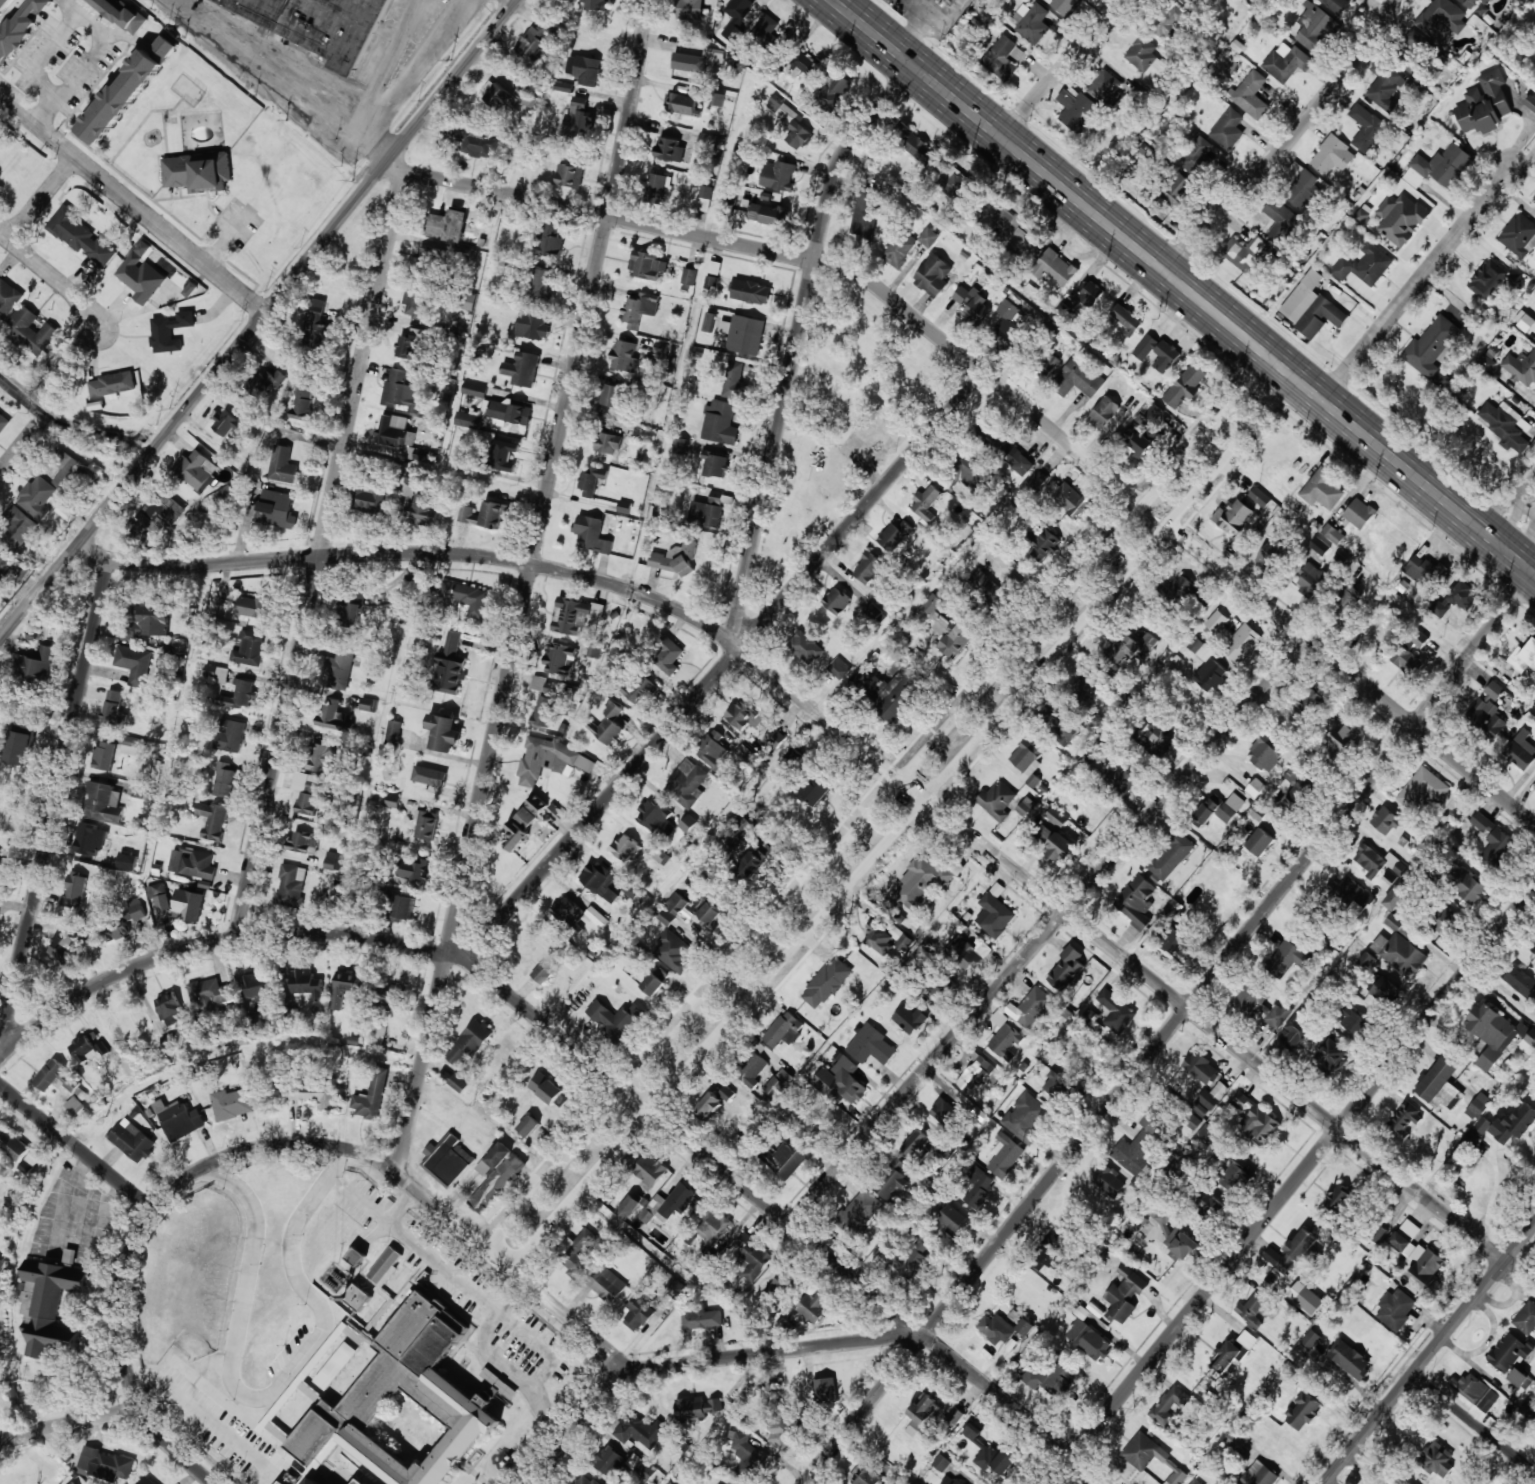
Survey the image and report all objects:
road: (519, 1)
building: (1486, 1)
building: (1194, 3)
building: (1469, 3)
building: (4, 4)
building: (594, 5)
building: (1337, 5)
building: (1064, 6)
building: (691, 9)
building: (122, 14)
building: (737, 18)
building: (1442, 19)
building: (1167, 21)
building: (1032, 22)
building: (317, 23)
building: (1315, 25)
building: (20, 28)
building: (766, 32)
building: (536, 41)
building: (1143, 55)
building: (1003, 57)
road: (91, 58)
building: (690, 62)
building: (1287, 62)
building: (803, 64)
road: (1063, 69)
building: (588, 70)
road: (271, 72)
road: (406, 79)
building: (1385, 84)
building: (1103, 86)
building: (564, 87)
building: (833, 89)
building: (126, 90)
building: (1251, 95)
building: (499, 97)
building: (529, 99)
building: (717, 99)
building: (1531, 102)
building: (682, 103)
building: (1484, 104)
building: (1078, 112)
building: (580, 120)
building: (790, 122)
building: (1366, 127)
building: (1228, 129)
road: (1276, 137)
building: (477, 142)
building: (708, 143)
building: (917, 146)
building: (670, 150)
building: (1196, 154)
building: (1332, 155)
building: (1440, 166)
building: (198, 171)
building: (778, 175)
building: (569, 176)
building: (953, 183)
building: (657, 188)
building: (1302, 188)
building: (1173, 189)
building: (1534, 196)
building: (705, 197)
road: (42, 199)
road: (134, 205)
building: (864, 212)
building: (767, 213)
building: (1280, 220)
building: (1403, 221)
building: (446, 226)
building: (1013, 231)
building: (1519, 235)
building: (81, 236)
building: (928, 237)
building: (550, 241)
building: (900, 249)
building: (1245, 252)
building: (427, 258)
building: (647, 265)
building: (1365, 265)
building: (1057, 268)
building: (933, 275)
road: (53, 276)
building: (689, 276)
building: (141, 277)
building: (1487, 279)
building: (542, 283)
road: (1417, 283)
road: (1181, 287)
building: (751, 292)
building: (1092, 293)
building: (8, 296)
building: (1302, 296)
building: (469, 302)
building: (415, 303)
building: (972, 304)
building: (639, 309)
building: (1321, 317)
building: (316, 318)
building: (1125, 319)
building: (1008, 321)
building: (709, 322)
road: (262, 323)
building: (533, 325)
building: (31, 330)
building: (170, 331)
building: (745, 334)
building: (406, 346)
road: (796, 347)
building: (1145, 347)
building: (1432, 349)
building: (624, 356)
building: (1165, 356)
building: (1490, 357)
building: (1049, 364)
building: (1521, 368)
building: (522, 369)
building: (1077, 378)
building: (733, 380)
building: (264, 383)
building: (111, 384)
building: (1185, 385)
building: (474, 390)
building: (401, 391)
road: (1010, 394)
building: (611, 395)
building: (303, 403)
building: (1131, 403)
building: (1105, 411)
building: (509, 413)
building: (1157, 414)
building: (468, 420)
building: (225, 422)
building: (3, 423)
building: (720, 423)
park: (845, 423)
building: (1504, 425)
building: (398, 435)
building: (607, 443)
building: (1141, 444)
road: (20, 447)
building: (1005, 449)
building: (502, 455)
building: (715, 464)
building: (282, 465)
building: (68, 468)
building: (197, 468)
building: (972, 468)
building: (415, 473)
building: (1040, 475)
building: (1322, 489)
building: (1066, 496)
building: (37, 497)
building: (1259, 497)
building: (369, 499)
building: (926, 503)
road: (1512, 504)
building: (276, 509)
building: (419, 510)
building: (162, 512)
building: (707, 512)
building: (1359, 513)
building: (485, 515)
building: (1233, 516)
building: (18, 527)
building: (1332, 533)
building: (591, 534)
building: (894, 536)
building: (1042, 543)
building: (1319, 545)
building: (1268, 553)
road: (321, 554)
building: (4, 559)
building: (672, 560)
building: (868, 568)
building: (1421, 569)
building: (1310, 580)
road: (523, 587)
building: (988, 588)
building: (1180, 589)
building: (467, 597)
building: (1456, 598)
building: (836, 601)
building: (255, 606)
building: (350, 613)
building: (937, 614)
building: (574, 615)
building: (148, 621)
building: (1216, 621)
building: (956, 641)
building: (1417, 641)
building: (1242, 644)
building: (1131, 645)
building: (806, 647)
building: (249, 648)
building: (1201, 650)
building: (669, 653)
building: (1523, 656)
building: (560, 659)
building: (1406, 660)
building: (37, 663)
building: (135, 664)
building: (450, 664)
road: (724, 665)
building: (341, 667)
building: (839, 667)
building: (1210, 675)
building: (640, 688)
building: (1087, 688)
building: (240, 694)
building: (891, 695)
building: (1313, 698)
building: (543, 701)
building: (112, 707)
building: (1489, 711)
building: (336, 716)
building: (743, 716)
building: (608, 724)
building: (1061, 725)
building: (394, 728)
building: (444, 732)
building: (1345, 735)
building: (231, 736)
building: (1154, 740)
road: (855, 743)
building: (129, 745)
building: (19, 748)
building: (1521, 749)
building: (713, 750)
building: (1266, 754)
building: (104, 756)
building: (793, 756)
building: (321, 758)
building: (549, 759)
building: (1028, 760)
building: (430, 775)
building: (1291, 775)
building: (1125, 776)
building: (224, 779)
building: (687, 783)
building: (1255, 787)
building: (1422, 789)
building: (815, 791)
building: (306, 792)
building: (1299, 794)
road: (56, 799)
building: (997, 800)
building: (103, 801)
road: (879, 805)
building: (1026, 806)
building: (1209, 808)
building: (1230, 808)
building: (656, 816)
building: (1056, 816)
building: (213, 819)
building: (1385, 820)
building: (1269, 821)
building: (688, 823)
building: (424, 824)
building: (521, 824)
road: (902, 824)
building: (740, 828)
building: (90, 839)
building: (1493, 840)
building: (1260, 842)
building: (303, 843)
building: (1056, 843)
building: (626, 848)
building: (1170, 856)
building: (756, 859)
building: (127, 861)
building: (334, 861)
building: (1370, 861)
building: (193, 864)
building: (412, 869)
building: (600, 881)
building: (921, 881)
building: (292, 885)
building: (1465, 887)
building: (75, 890)
building: (1351, 894)
building: (1395, 898)
building: (1137, 901)
building: (176, 902)
building: (676, 904)
building: (404, 908)
building: (135, 909)
building: (568, 911)
building: (995, 912)
building: (712, 915)
building: (597, 917)
building: (666, 917)
building: (1442, 918)
building: (116, 929)
road: (1048, 930)
building: (879, 939)
building: (1172, 941)
building: (71, 942)
building: (1533, 946)
building: (1399, 948)
building: (673, 951)
building: (966, 956)
building: (56, 957)
building: (1285, 959)
building: (1366, 961)
building: (1067, 969)
building: (541, 973)
building: (1520, 980)
building: (305, 983)
building: (653, 983)
building: (826, 983)
building: (344, 986)
building: (939, 986)
building: (256, 988)
building: (1383, 990)
building: (209, 993)
building: (1253, 995)
building: (395, 996)
building: (1030, 1007)
building: (170, 1009)
building: (1116, 1011)
building: (1278, 1015)
building: (611, 1018)
building: (910, 1019)
building: (1351, 1021)
building: (784, 1029)
building: (1296, 1032)
building: (1004, 1034)
building: (1493, 1034)
building: (380, 1036)
road: (1174, 1038)
building: (470, 1042)
building: (1528, 1042)
building: (871, 1045)
building: (82, 1048)
building: (1332, 1055)
road: (592, 1062)
building: (1201, 1067)
building: (752, 1070)
building: (974, 1074)
building: (56, 1076)
building: (841, 1081)
building: (457, 1083)
building: (1055, 1085)
building: (1439, 1085)
building: (549, 1091)
building: (727, 1093)
building: (315, 1096)
building: (371, 1096)
building: (1210, 1099)
building: (232, 1103)
building: (709, 1105)
building: (1478, 1106)
building: (76, 1107)
building: (944, 1112)
building: (1025, 1118)
building: (1254, 1118)
building: (178, 1119)
building: (1403, 1121)
building: (1153, 1122)
building: (1515, 1124)
building: (528, 1125)
building: (1479, 1128)
building: (132, 1140)
building: (11, 1145)
road: (75, 1145)
building: (918, 1145)
road: (270, 1149)
building: (1134, 1152)
building: (1005, 1155)
building: (784, 1159)
building: (446, 1160)
building: (28, 1162)
building: (649, 1170)
building: (495, 1174)
building: (1234, 1177)
building: (891, 1179)
building: (1108, 1180)
road: (1292, 1185)
building: (976, 1187)
building: (1339, 1199)
building: (668, 1205)
building: (628, 1207)
building: (859, 1212)
building: (1161, 1213)
building: (952, 1219)
building: (713, 1226)
road: (1519, 1241)
building: (1301, 1244)
building: (1180, 1245)
building: (1055, 1252)
building: (576, 1254)
building: (1416, 1254)
building: (752, 1256)
building: (353, 1258)
building: (913, 1259)
building: (1278, 1259)
building: (1, 1264)
building: (380, 1266)
road: (514, 1271)
building: (1124, 1271)
building: (606, 1283)
building: (676, 1288)
building: (780, 1288)
building: (354, 1296)
building: (1125, 1297)
building: (1305, 1298)
building: (52, 1305)
building: (813, 1305)
building: (1255, 1307)
building: (1396, 1309)
building: (638, 1313)
building: (292, 1318)
building: (1526, 1318)
building: (701, 1319)
building: (1002, 1328)
building: (312, 1332)
building: (339, 1334)
building: (1089, 1340)
building: (331, 1348)
building: (1233, 1351)
building: (263, 1352)
building: (1508, 1352)
road: (779, 1355)
road: (126, 1358)
building: (316, 1359)
building: (1349, 1359)
building: (336, 1365)
building: (283, 1366)
road: (1413, 1372)
building: (1518, 1377)
building: (1050, 1379)
building: (302, 1386)
building: (825, 1390)
building: (407, 1401)
building: (253, 1404)
building: (1169, 1405)
building: (696, 1407)
building: (1303, 1411)
building: (922, 1414)
building: (955, 1415)
building: (274, 1421)
road: (71, 1427)
road: (580, 1427)
road: (1472, 1429)
building: (640, 1430)
building: (782, 1430)
building: (1233, 1443)
building: (980, 1447)
building: (1143, 1451)
building: (745, 1457)
building: (1436, 1459)
building: (609, 1460)
building: (1005, 1462)
building: (941, 1463)
building: (107, 1464)
building: (641, 1467)
building: (864, 1475)
building: (1259, 1475)
building: (584, 1480)
building: (952, 1480)
building: (146, 1481)
building: (283, 1482)
building: (692, 1482)
building: (733, 1482)
building: (1196, 1482)
building: (71, 1483)
building: (718, 1483)

